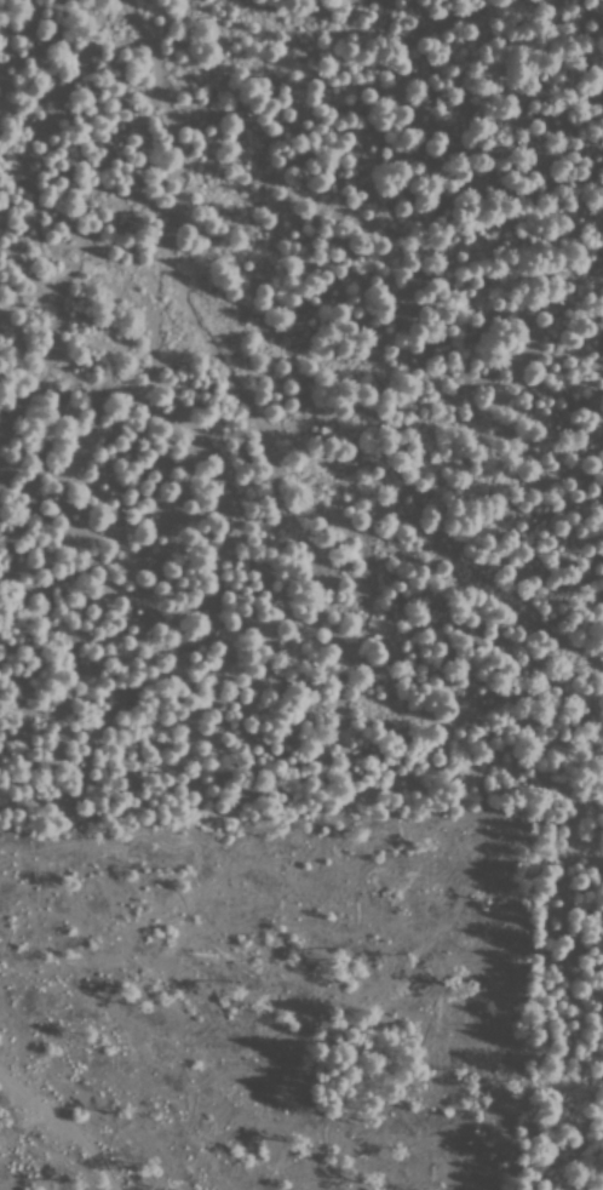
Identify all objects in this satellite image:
road: (249, 405)
road: (64, 1125)

